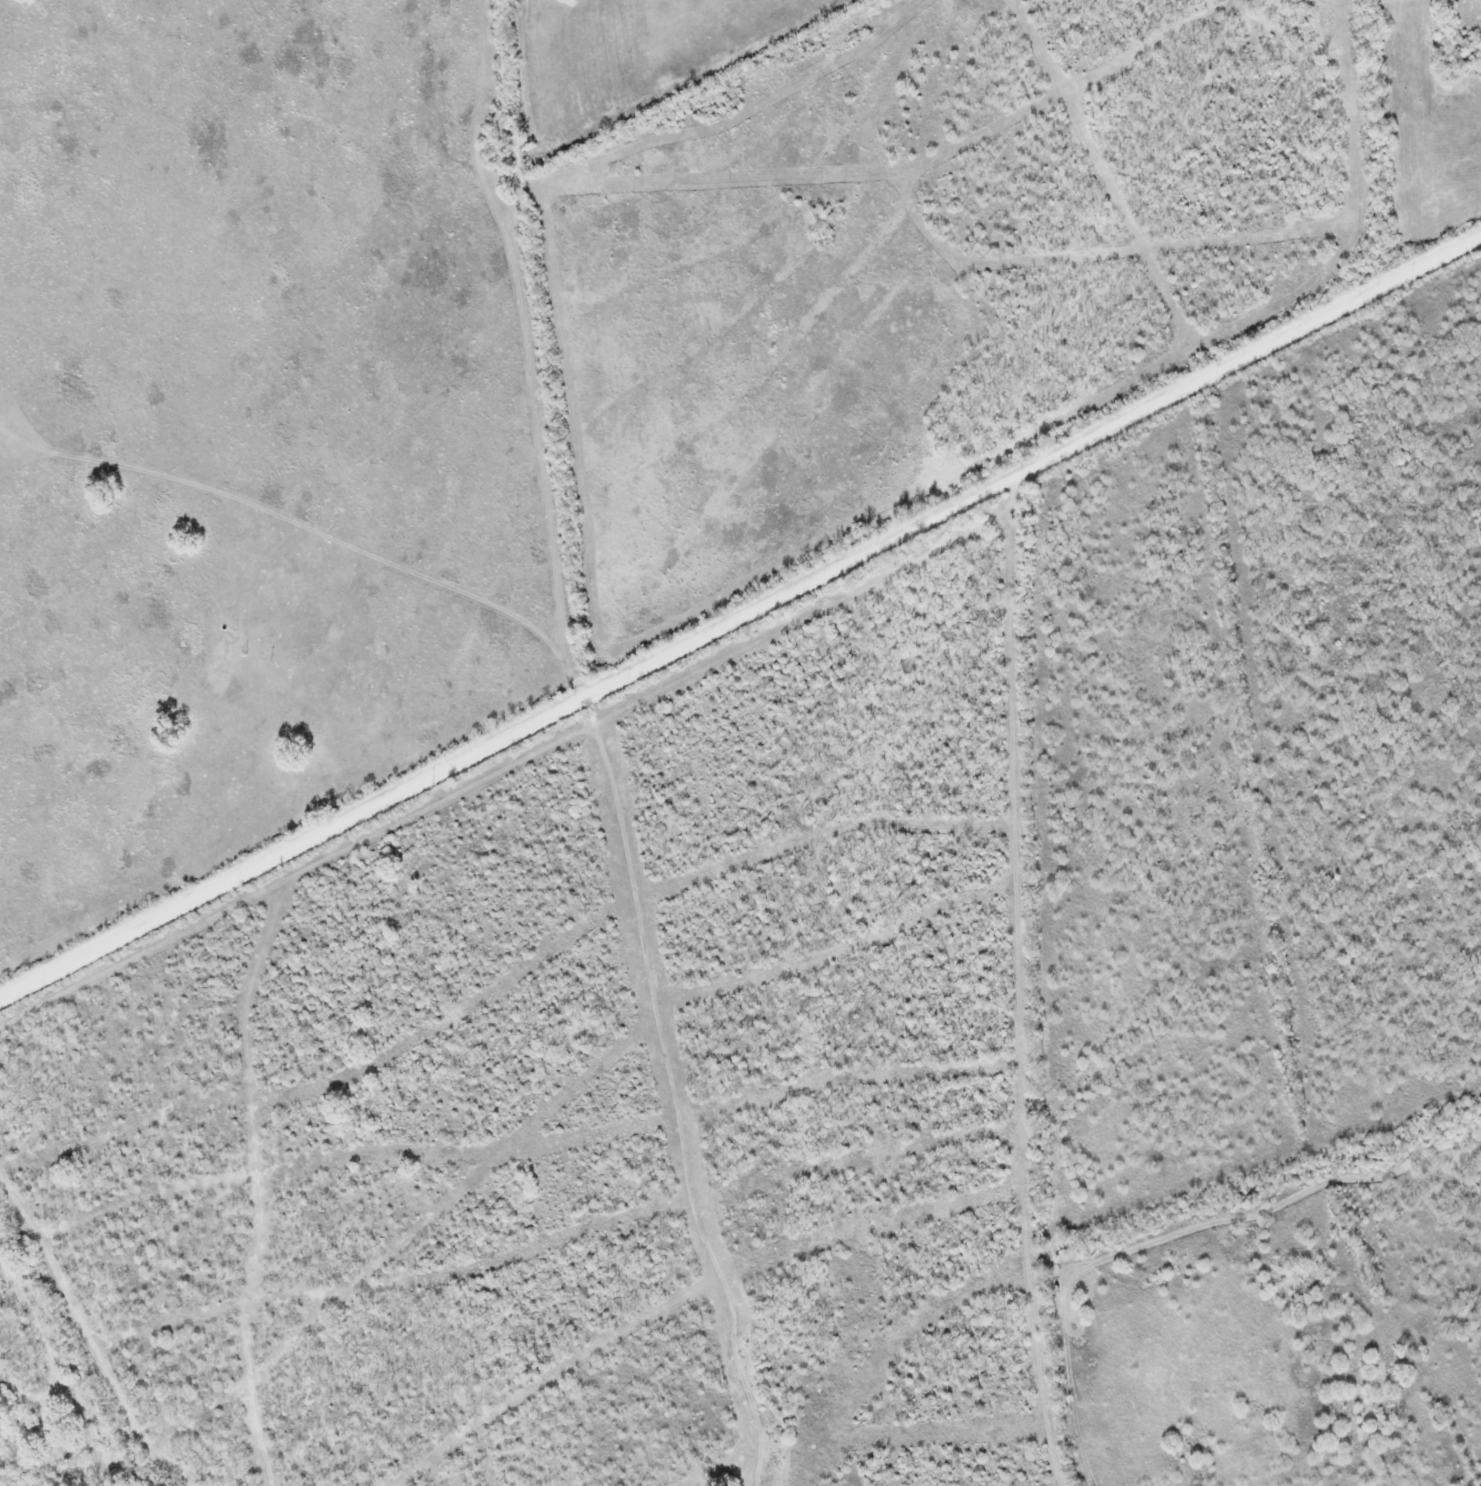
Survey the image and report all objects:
road: (739, 619)

